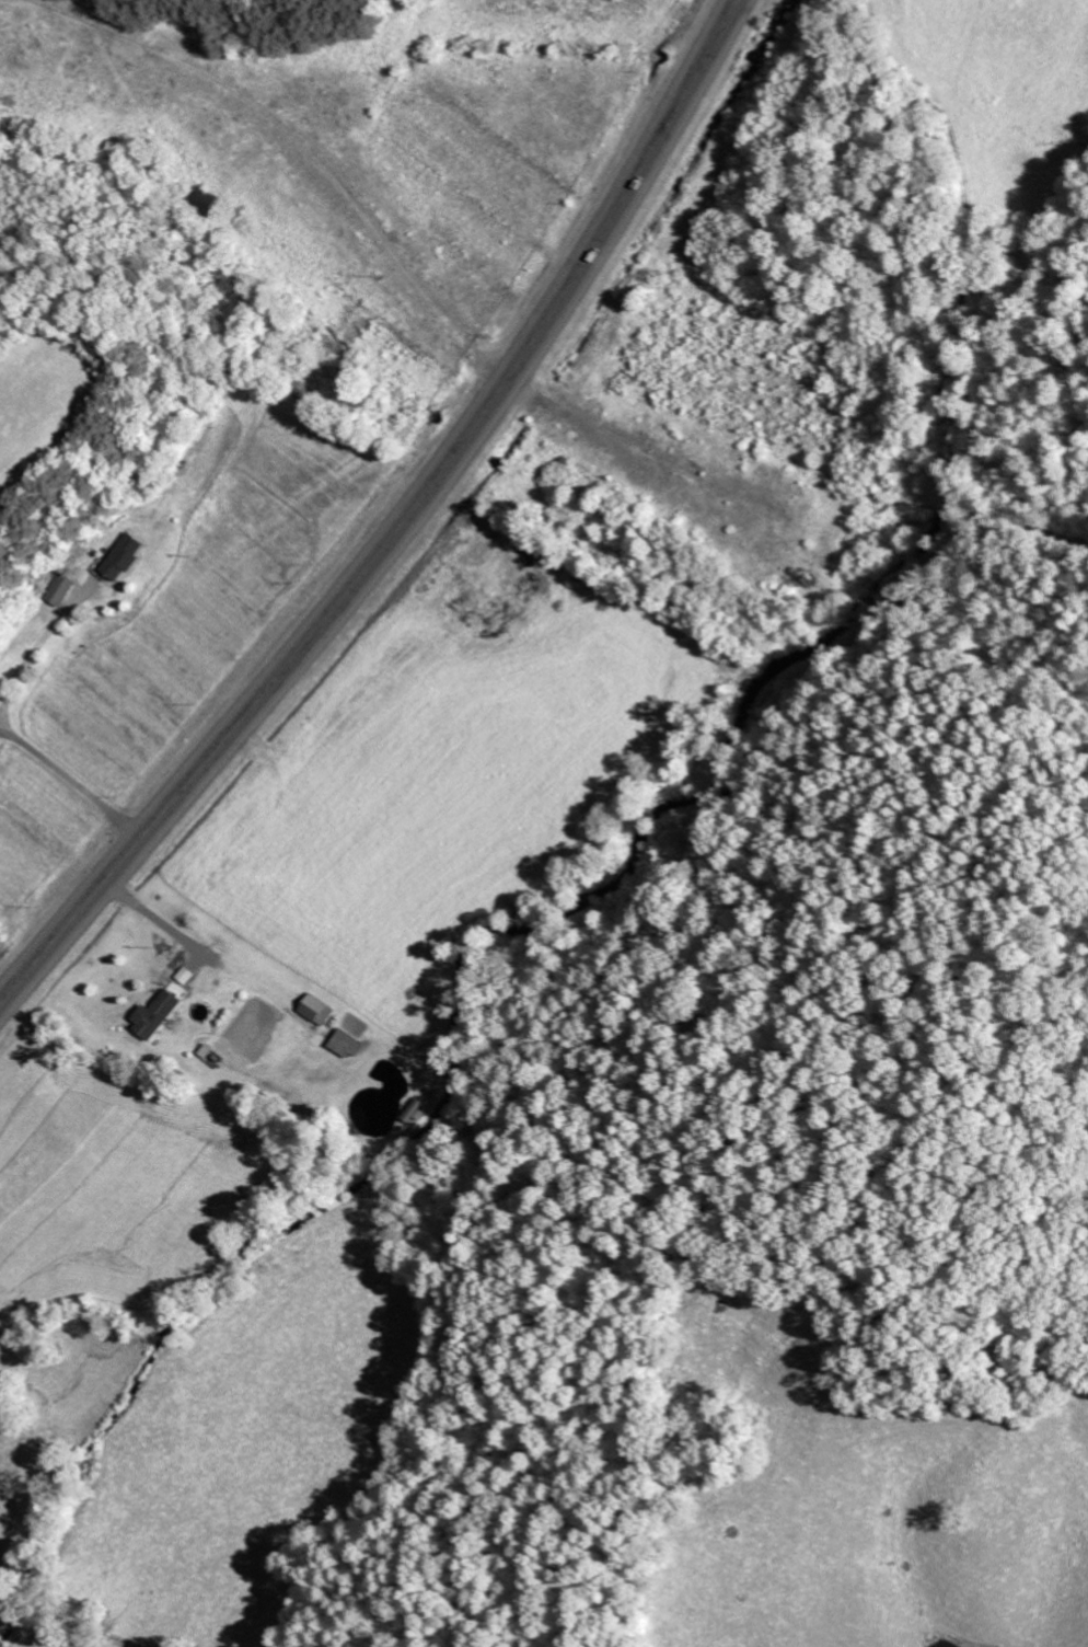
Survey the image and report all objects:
building: (205, 203)
road: (403, 529)
building: (121, 557)
building: (59, 590)
building: (185, 976)
building: (319, 1010)
building: (157, 1015)
building: (419, 1112)

